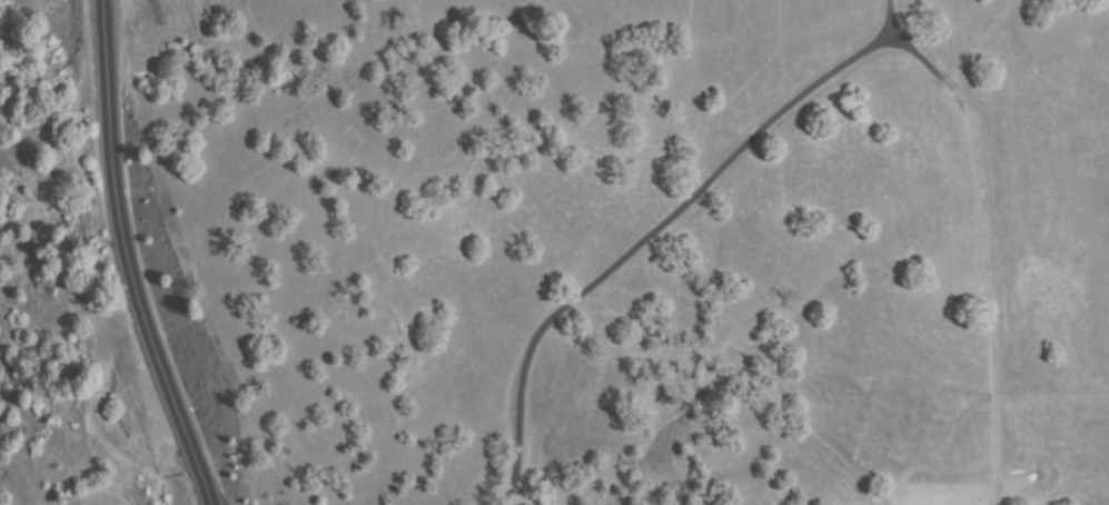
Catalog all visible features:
road: (129, 258)

